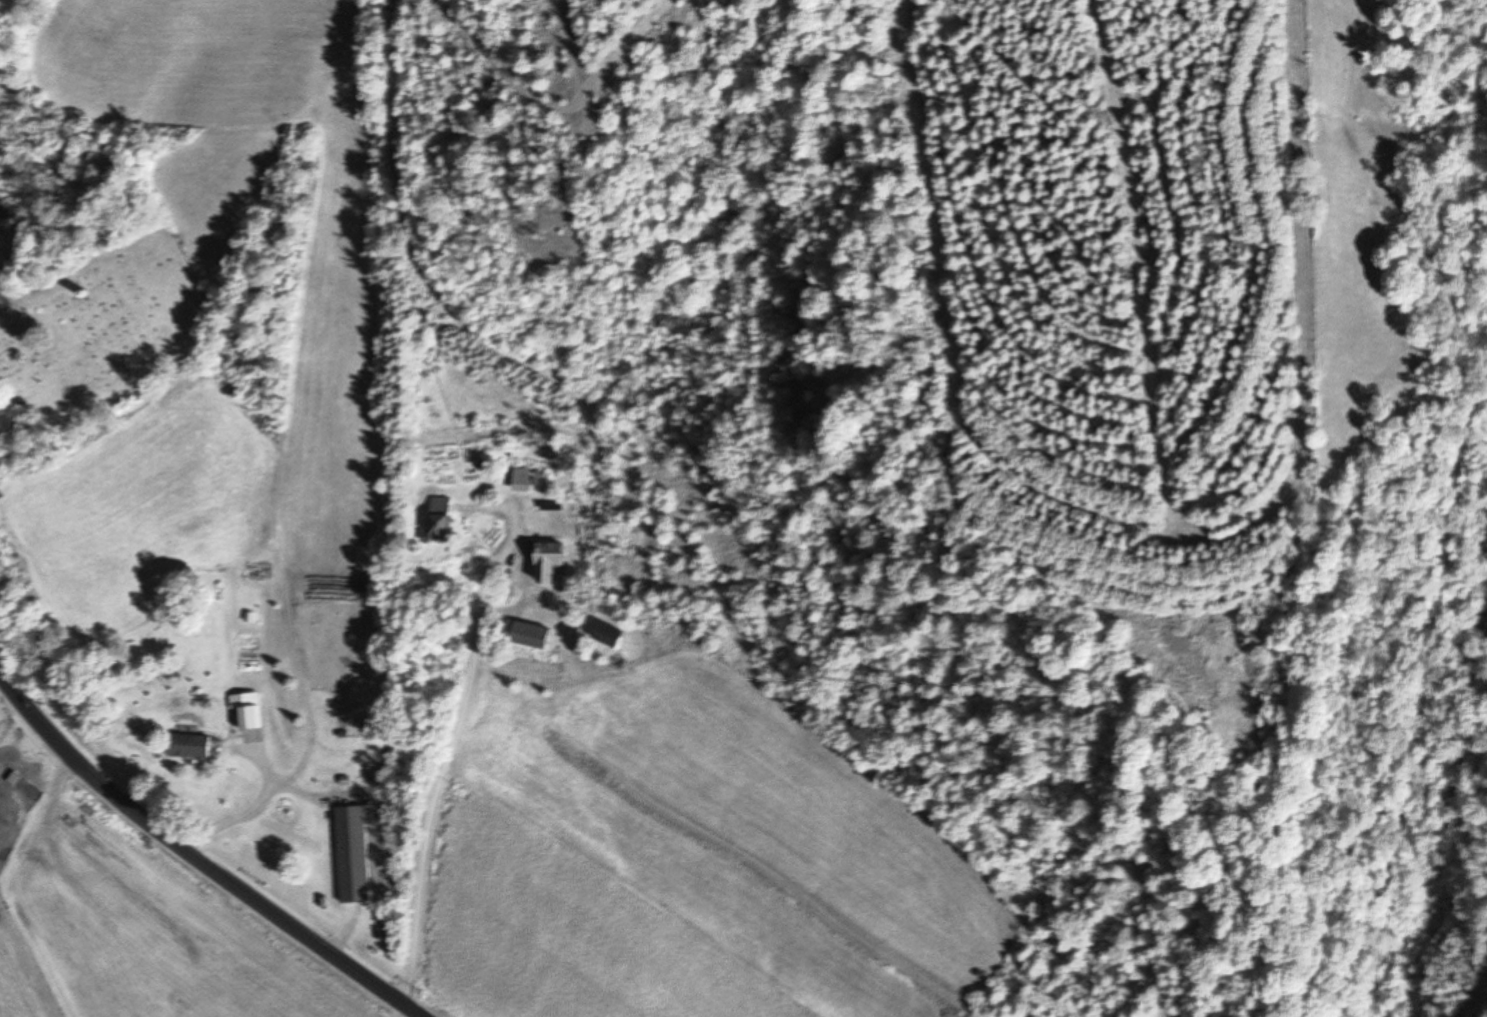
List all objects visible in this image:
park: (104, 339)
building: (517, 480)
building: (435, 519)
building: (545, 562)
building: (602, 633)
building: (522, 634)
building: (244, 710)
building: (185, 745)
road: (444, 770)
building: (349, 854)
road: (196, 859)

